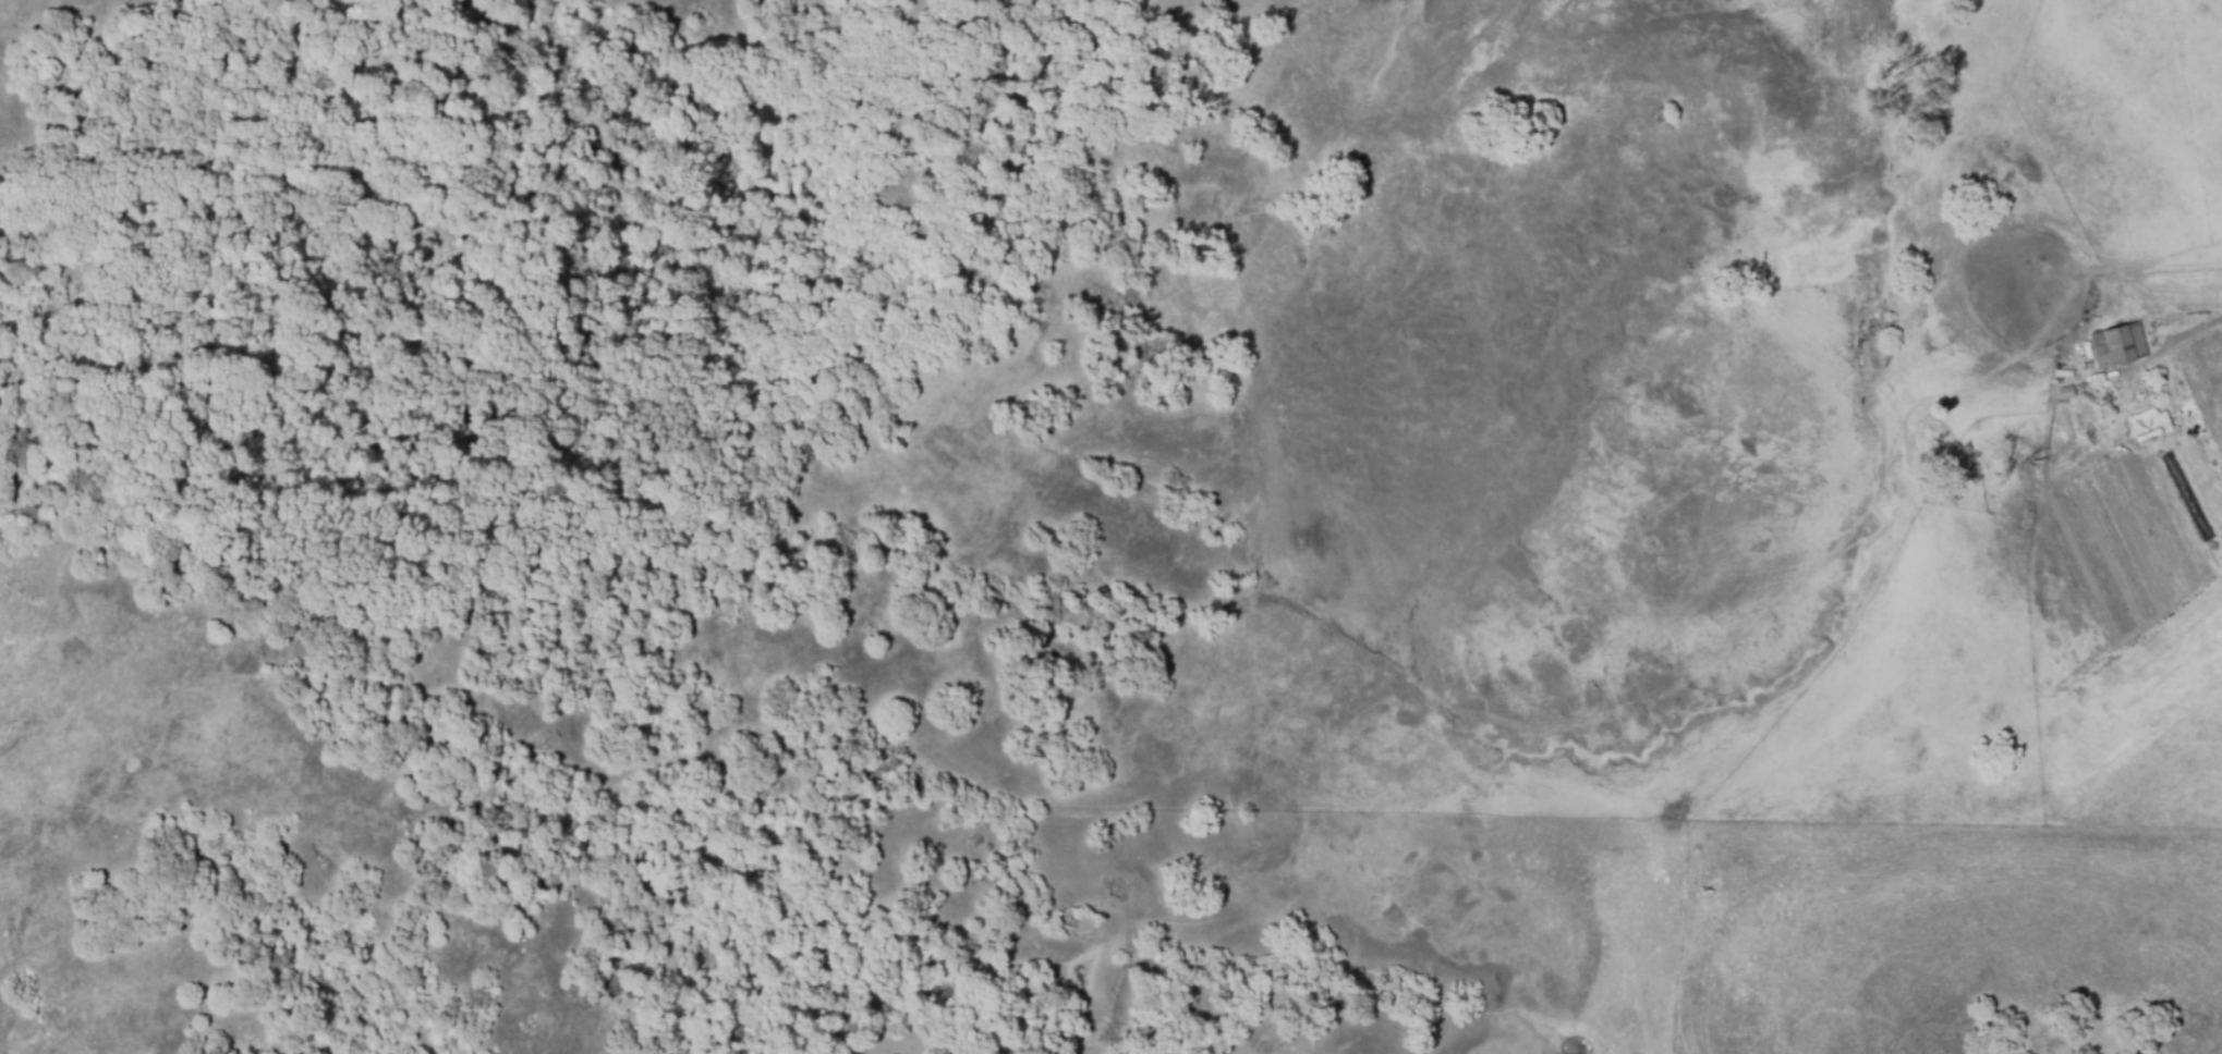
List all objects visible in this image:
road: (2196, 330)
building: (2117, 345)

